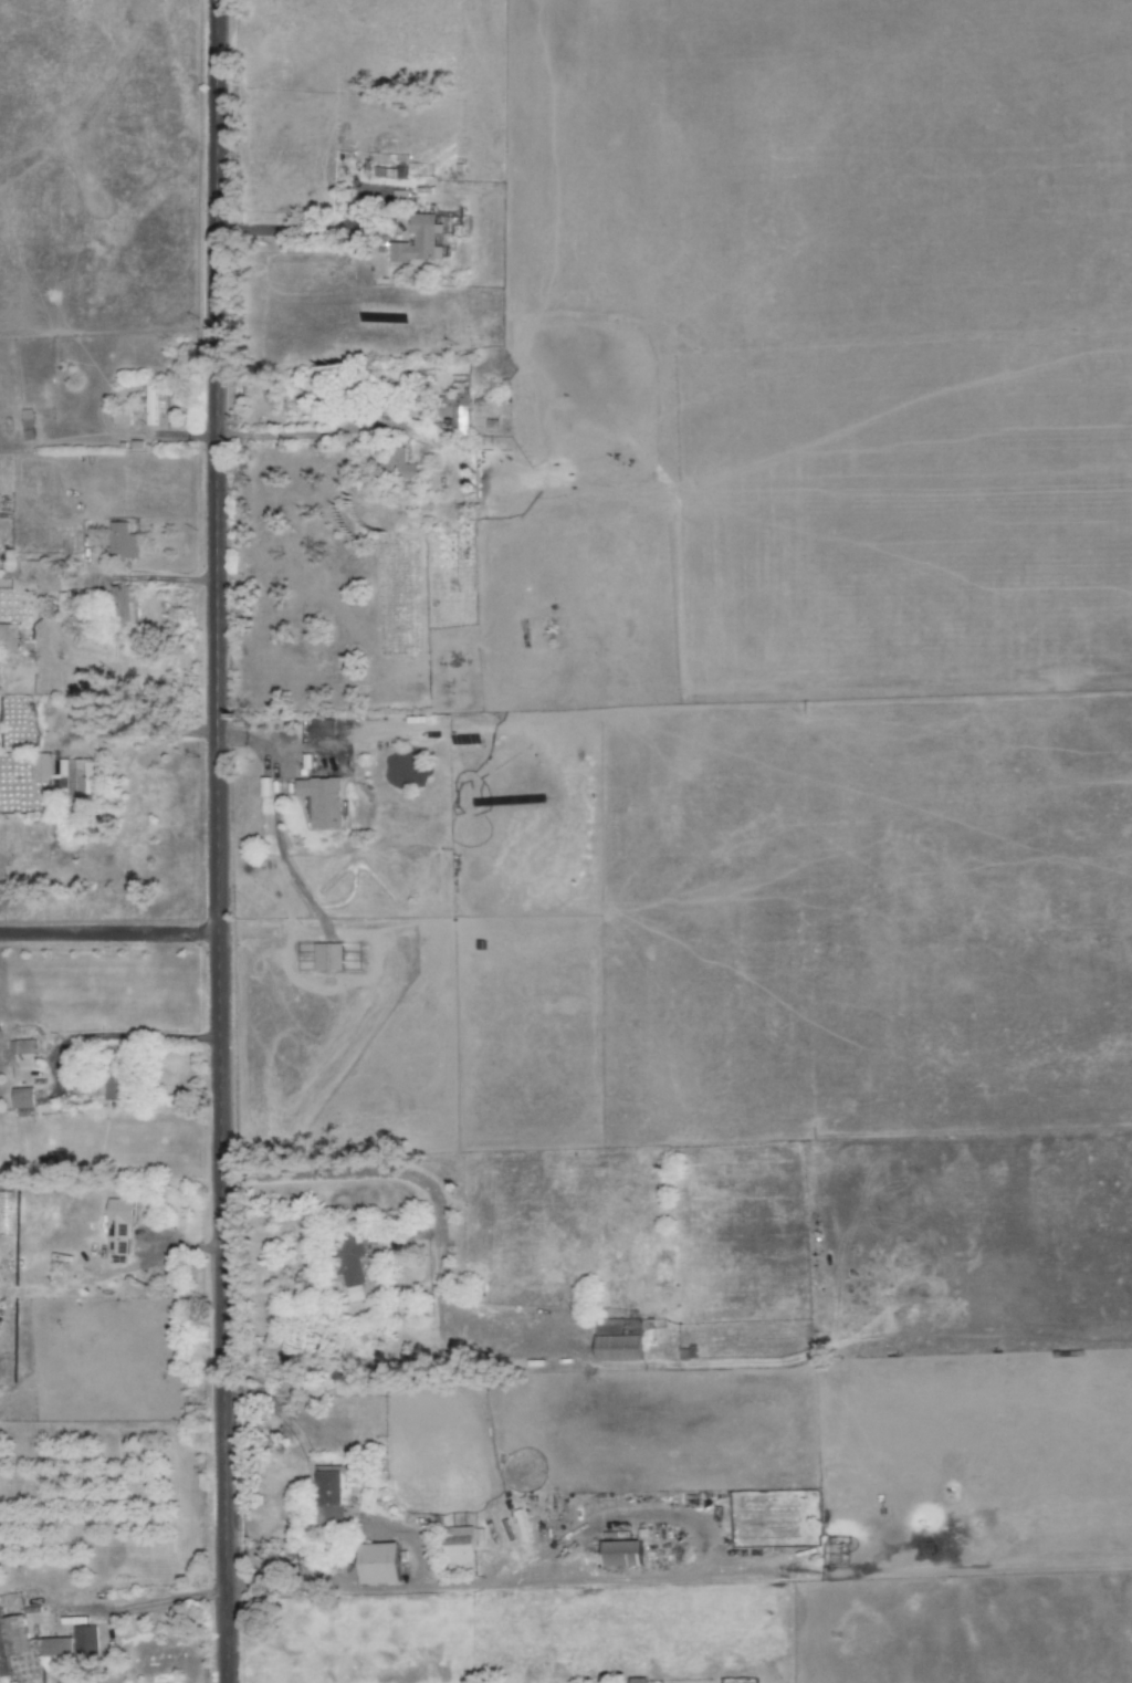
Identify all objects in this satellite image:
building: (391, 173)
building: (420, 241)
building: (151, 403)
building: (460, 420)
building: (123, 541)
building: (125, 604)
building: (9, 637)
building: (324, 728)
building: (43, 766)
building: (76, 780)
building: (324, 802)
road: (217, 841)
road: (108, 933)
building: (22, 1055)
building: (113, 1076)
building: (23, 1099)
building: (6, 1194)
building: (119, 1226)
building: (352, 1263)
building: (620, 1341)
building: (688, 1355)
building: (333, 1497)
building: (461, 1546)
building: (622, 1555)
building: (380, 1565)
building: (12, 1641)
building: (73, 1645)
building: (639, 1681)

